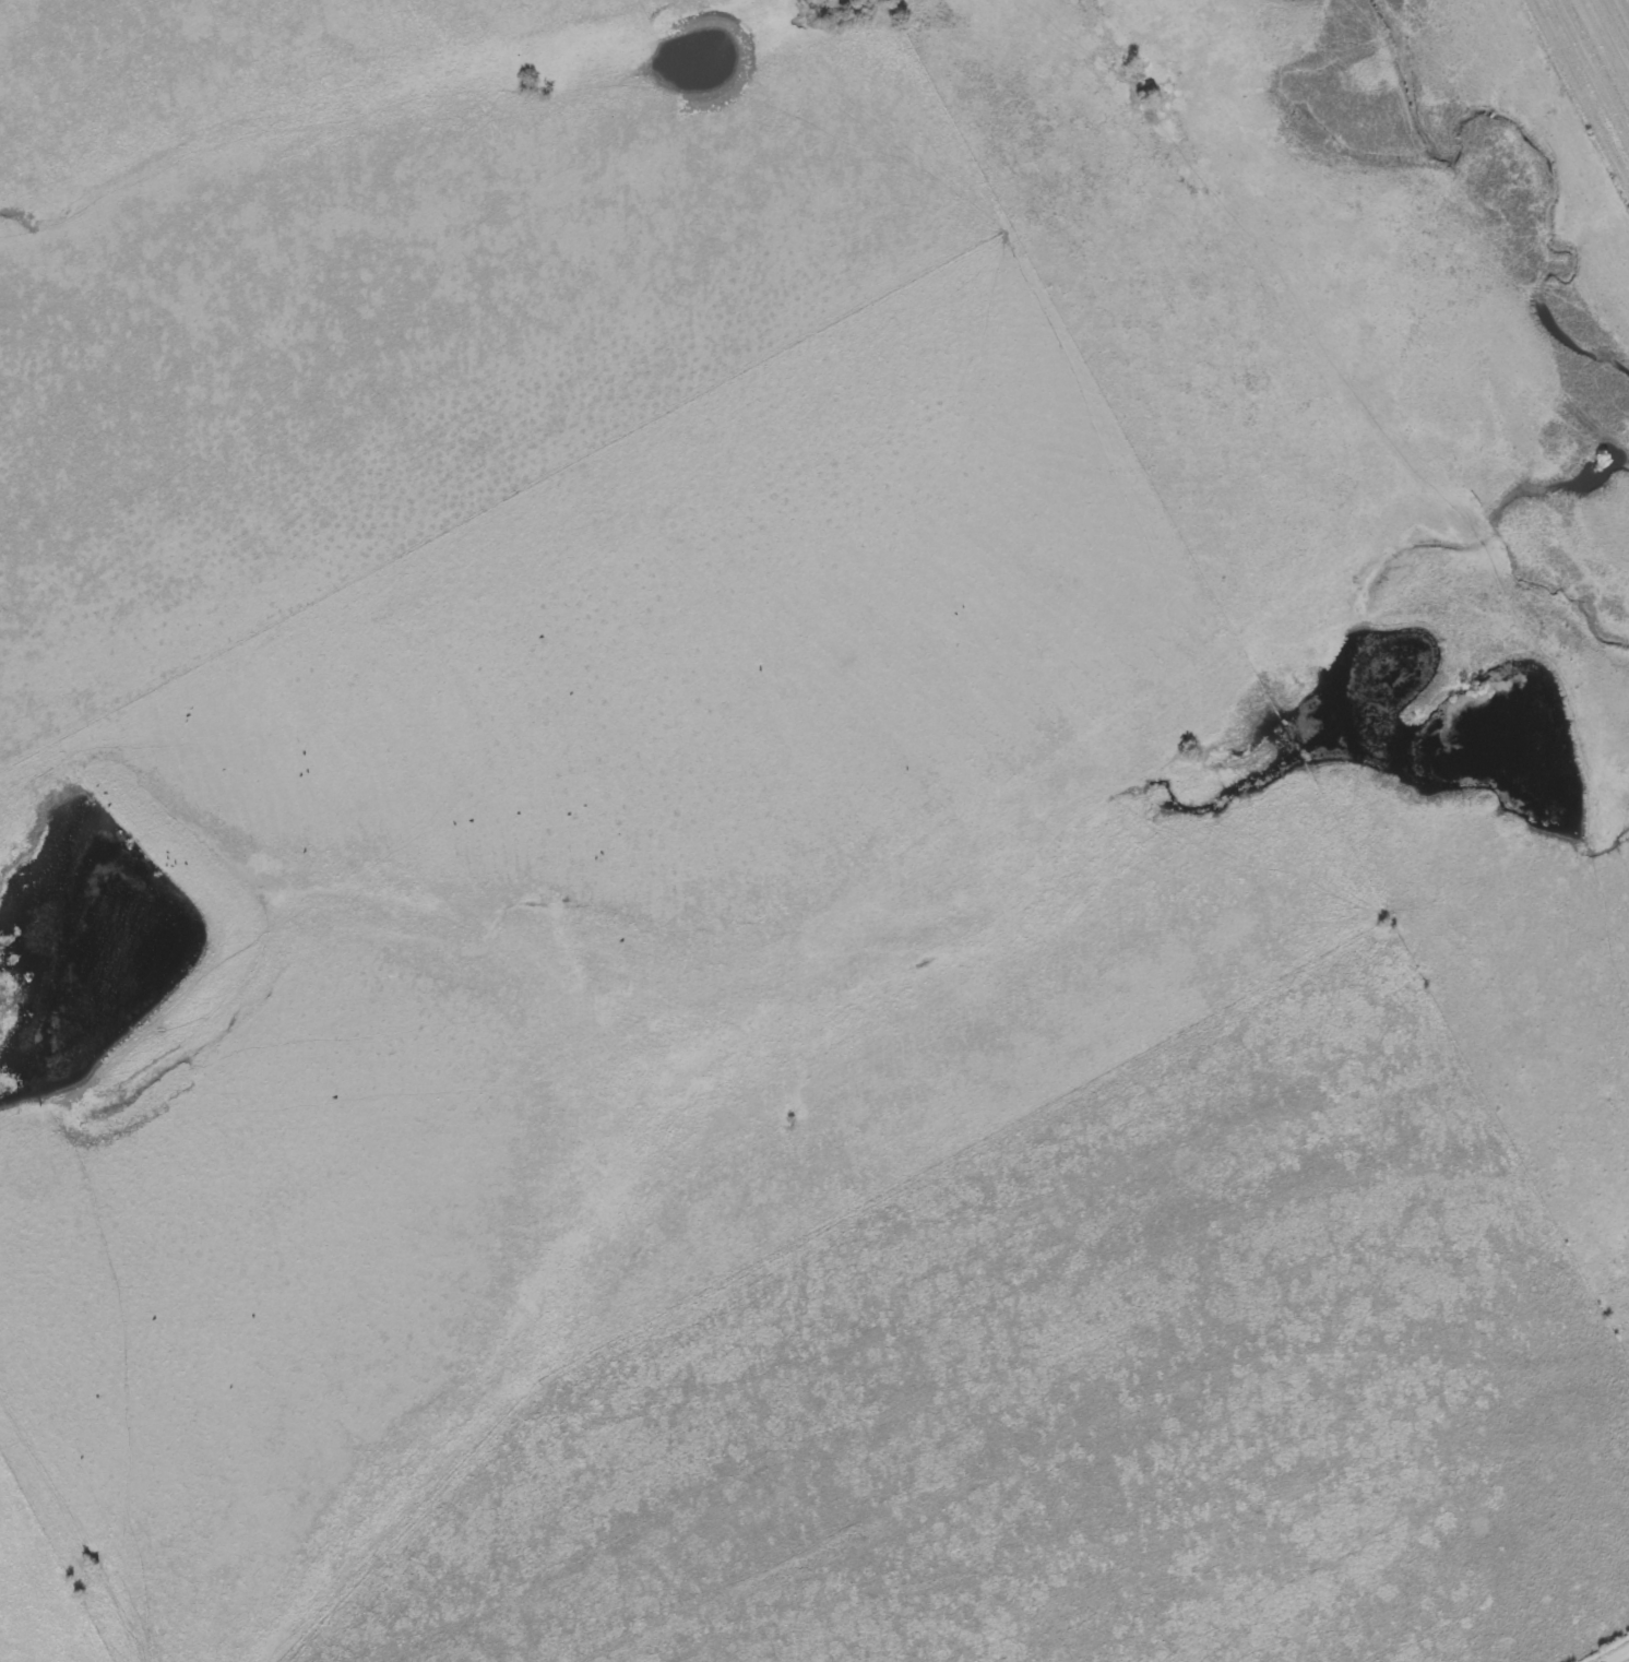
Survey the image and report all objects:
road: (1620, 1657)

